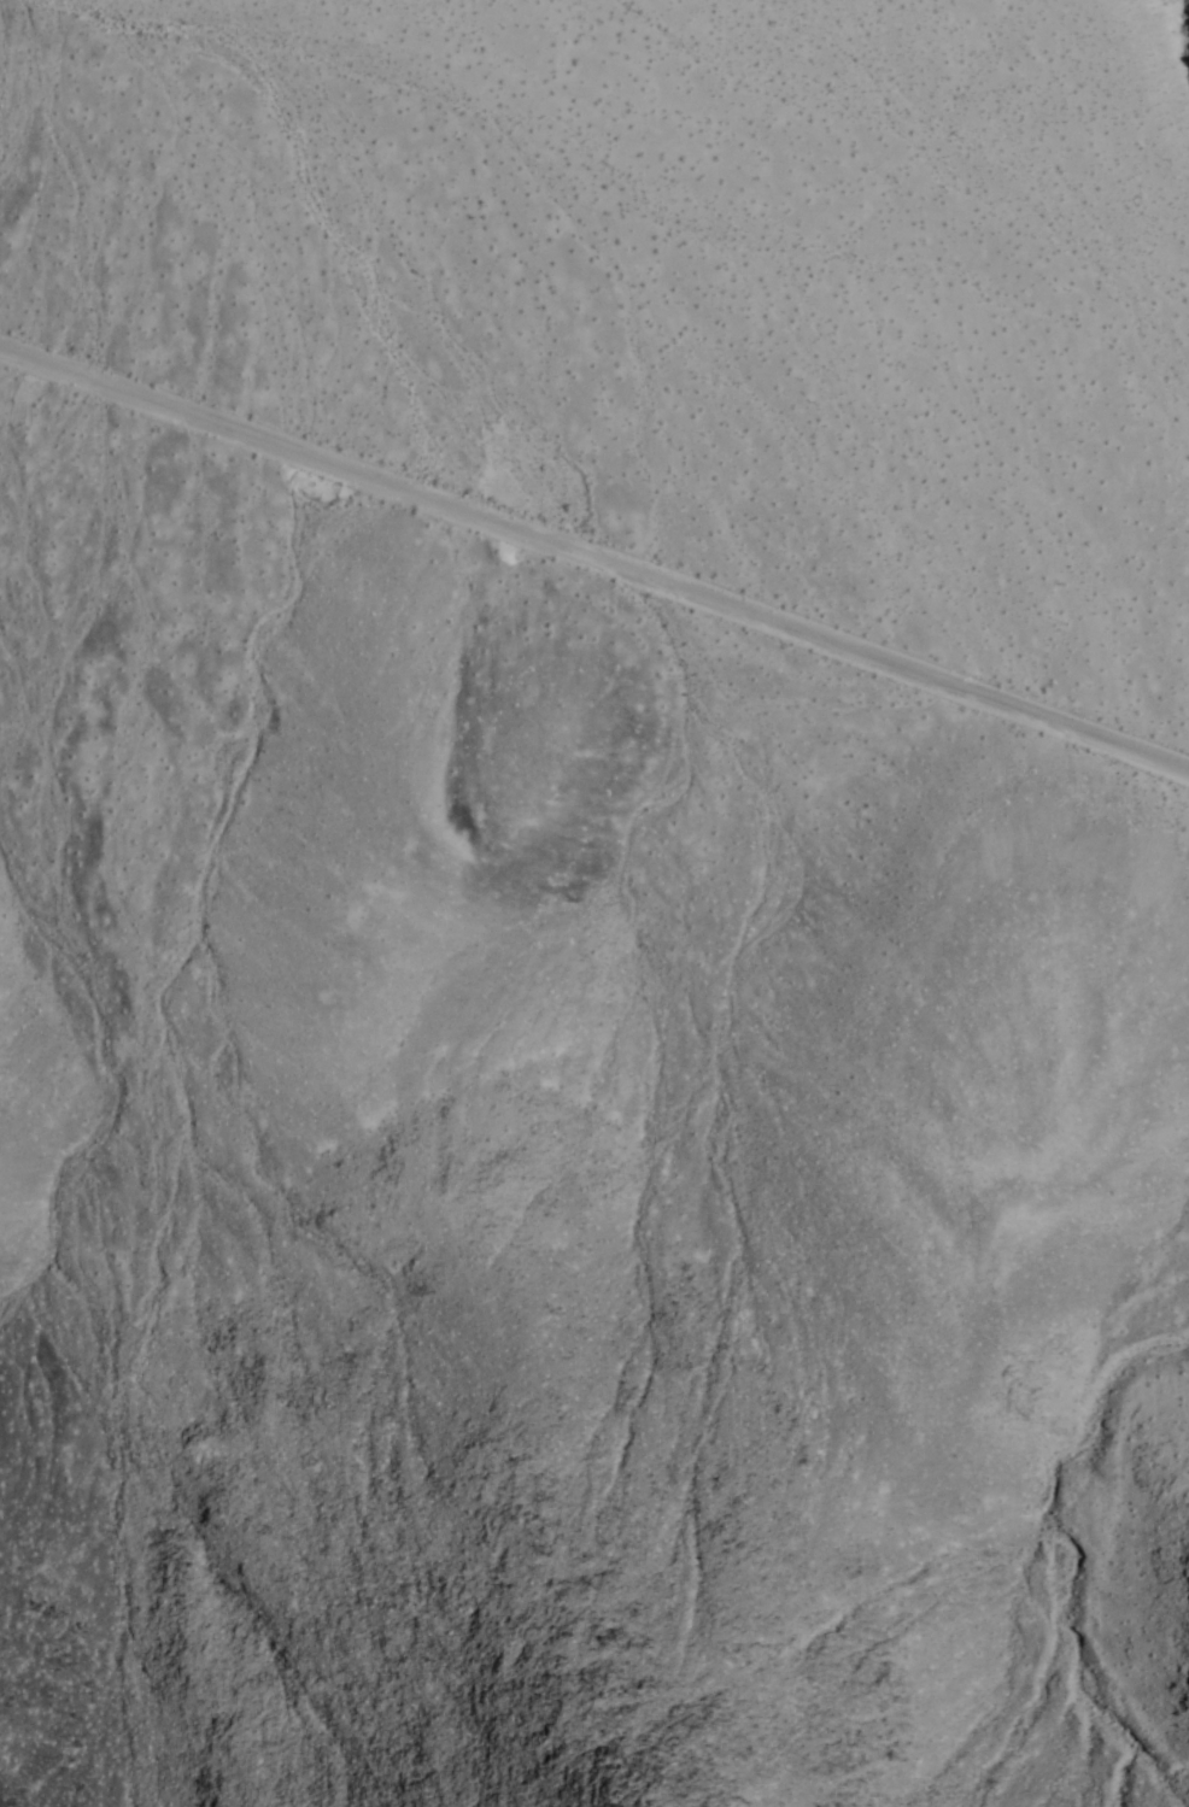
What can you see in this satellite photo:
road: (273, 440)
road: (868, 646)

